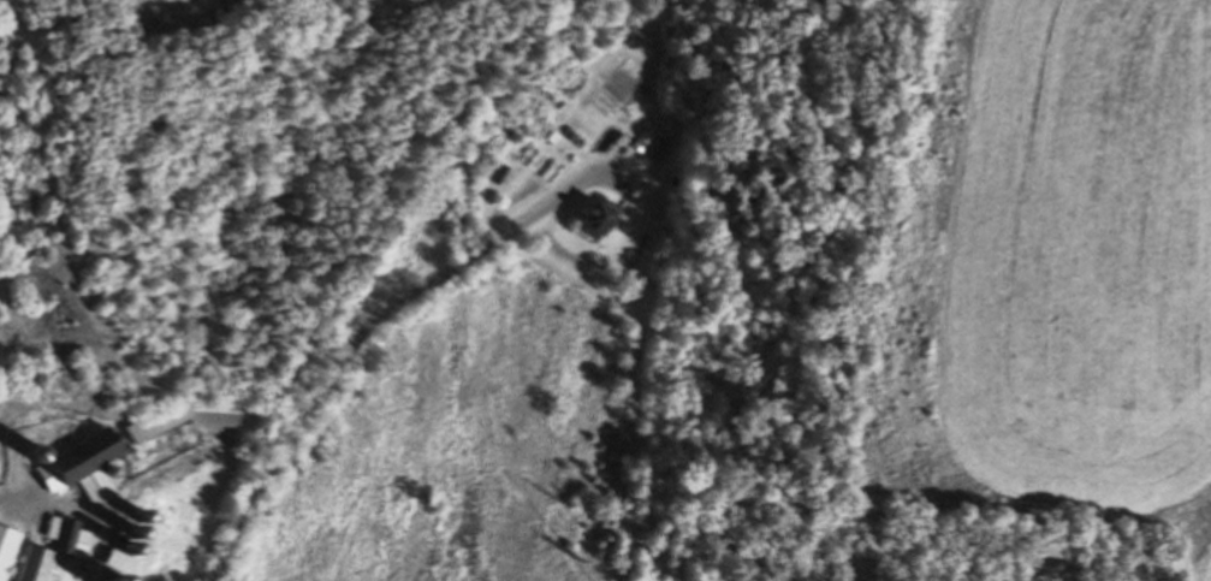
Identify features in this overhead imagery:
road: (53, 30)
building: (541, 101)
building: (541, 134)
building: (596, 217)
road: (361, 332)
building: (213, 419)
building: (36, 450)
building: (83, 462)
building: (111, 469)
road: (81, 508)
building: (138, 516)
building: (131, 532)
building: (126, 545)
building: (6, 546)
building: (52, 552)
building: (119, 561)
building: (113, 576)

